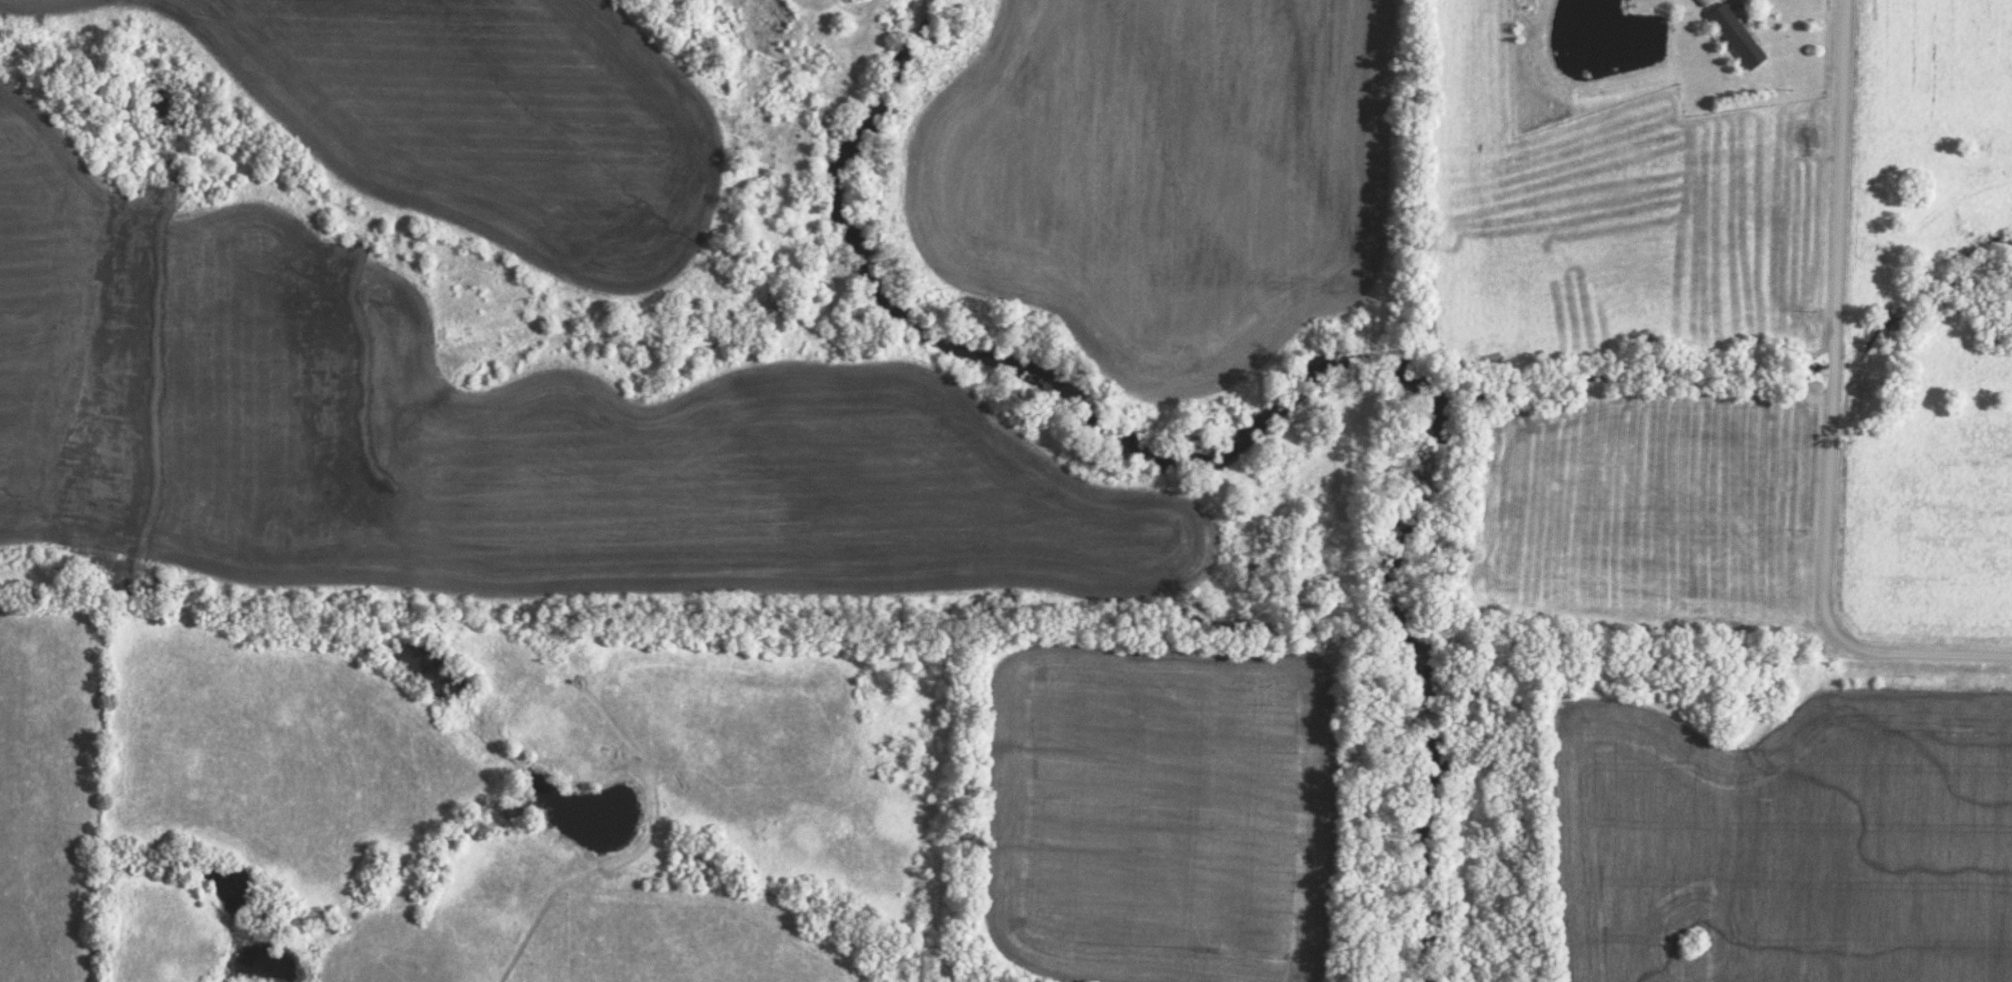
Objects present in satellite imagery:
building: (1737, 34)
road: (1838, 406)

